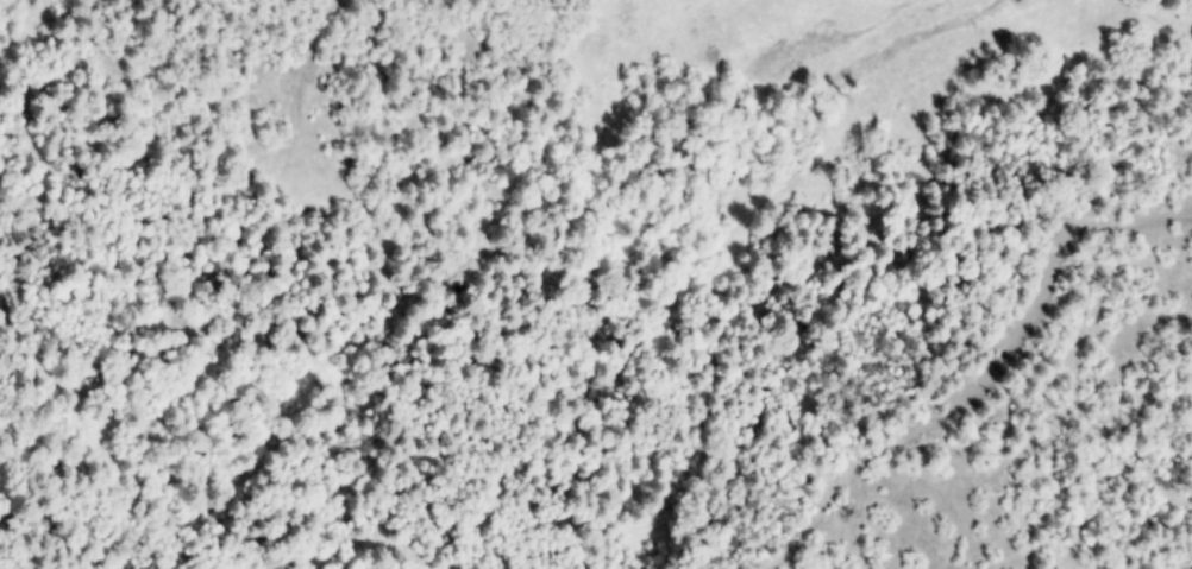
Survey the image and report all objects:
road: (1047, 154)

